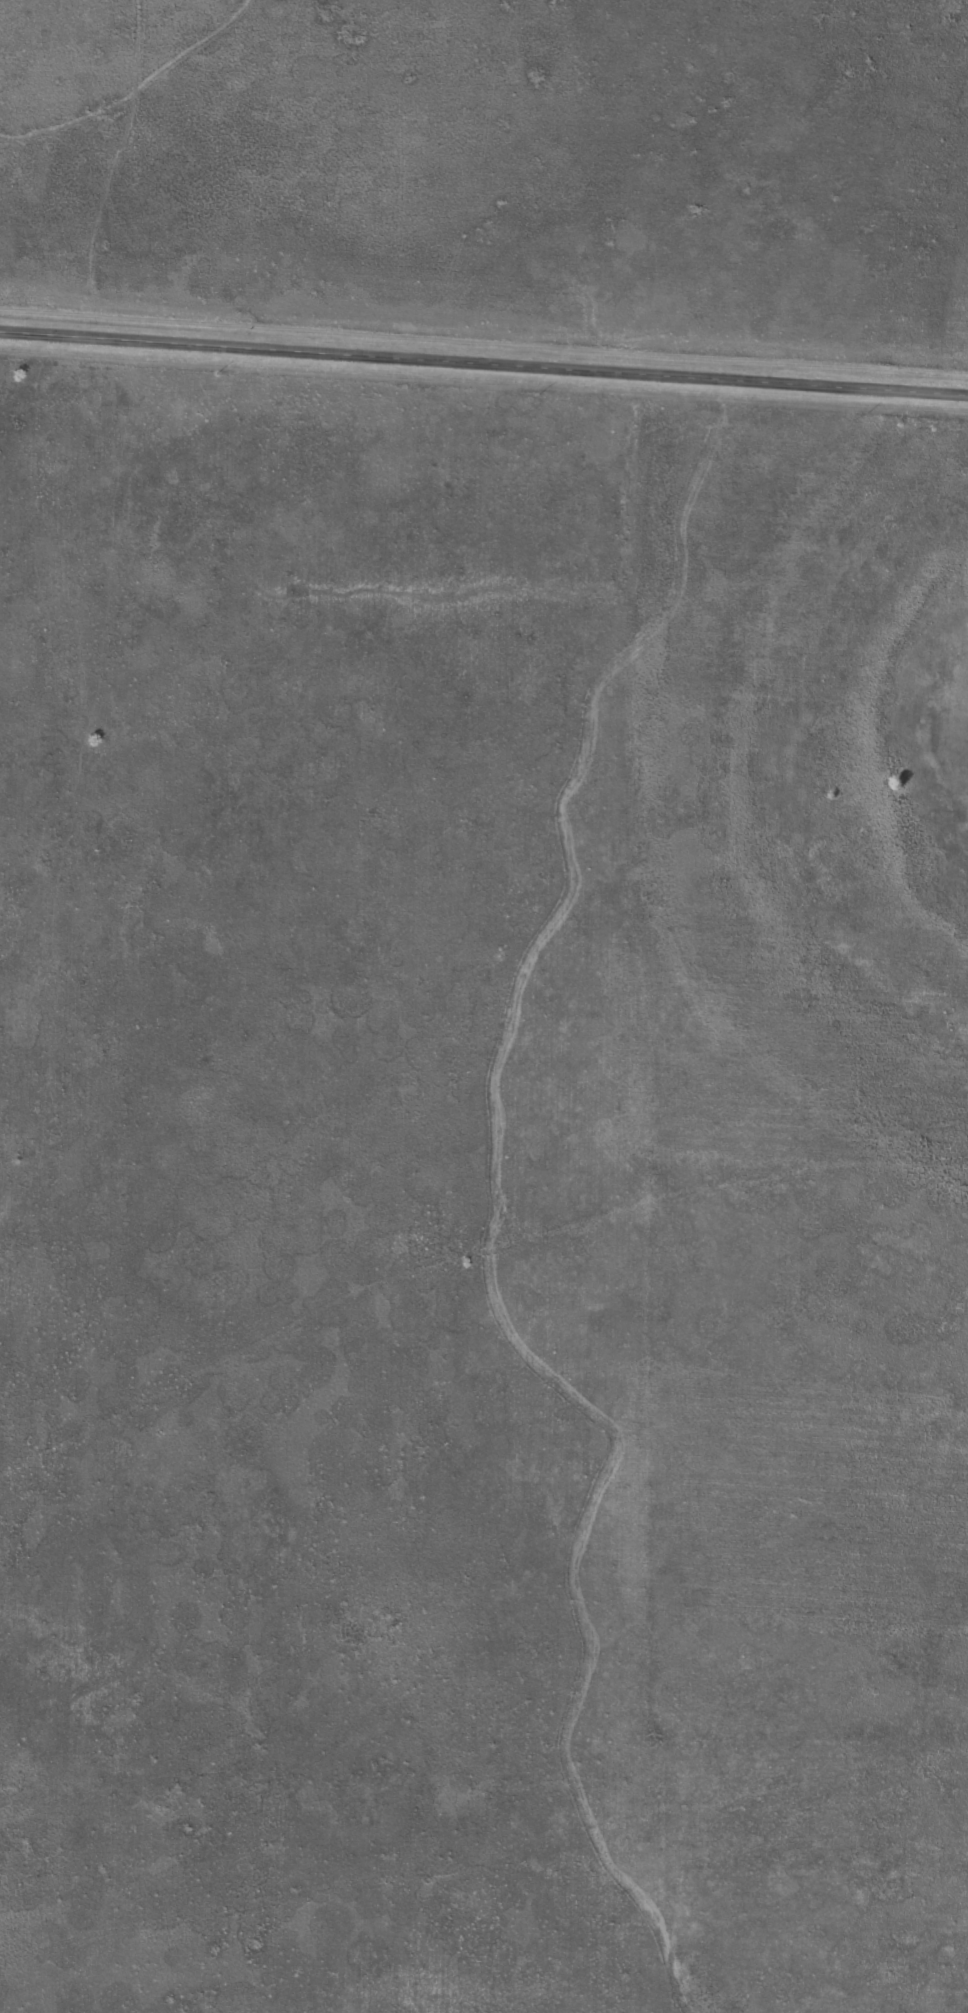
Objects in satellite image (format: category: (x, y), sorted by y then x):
road: (484, 363)

